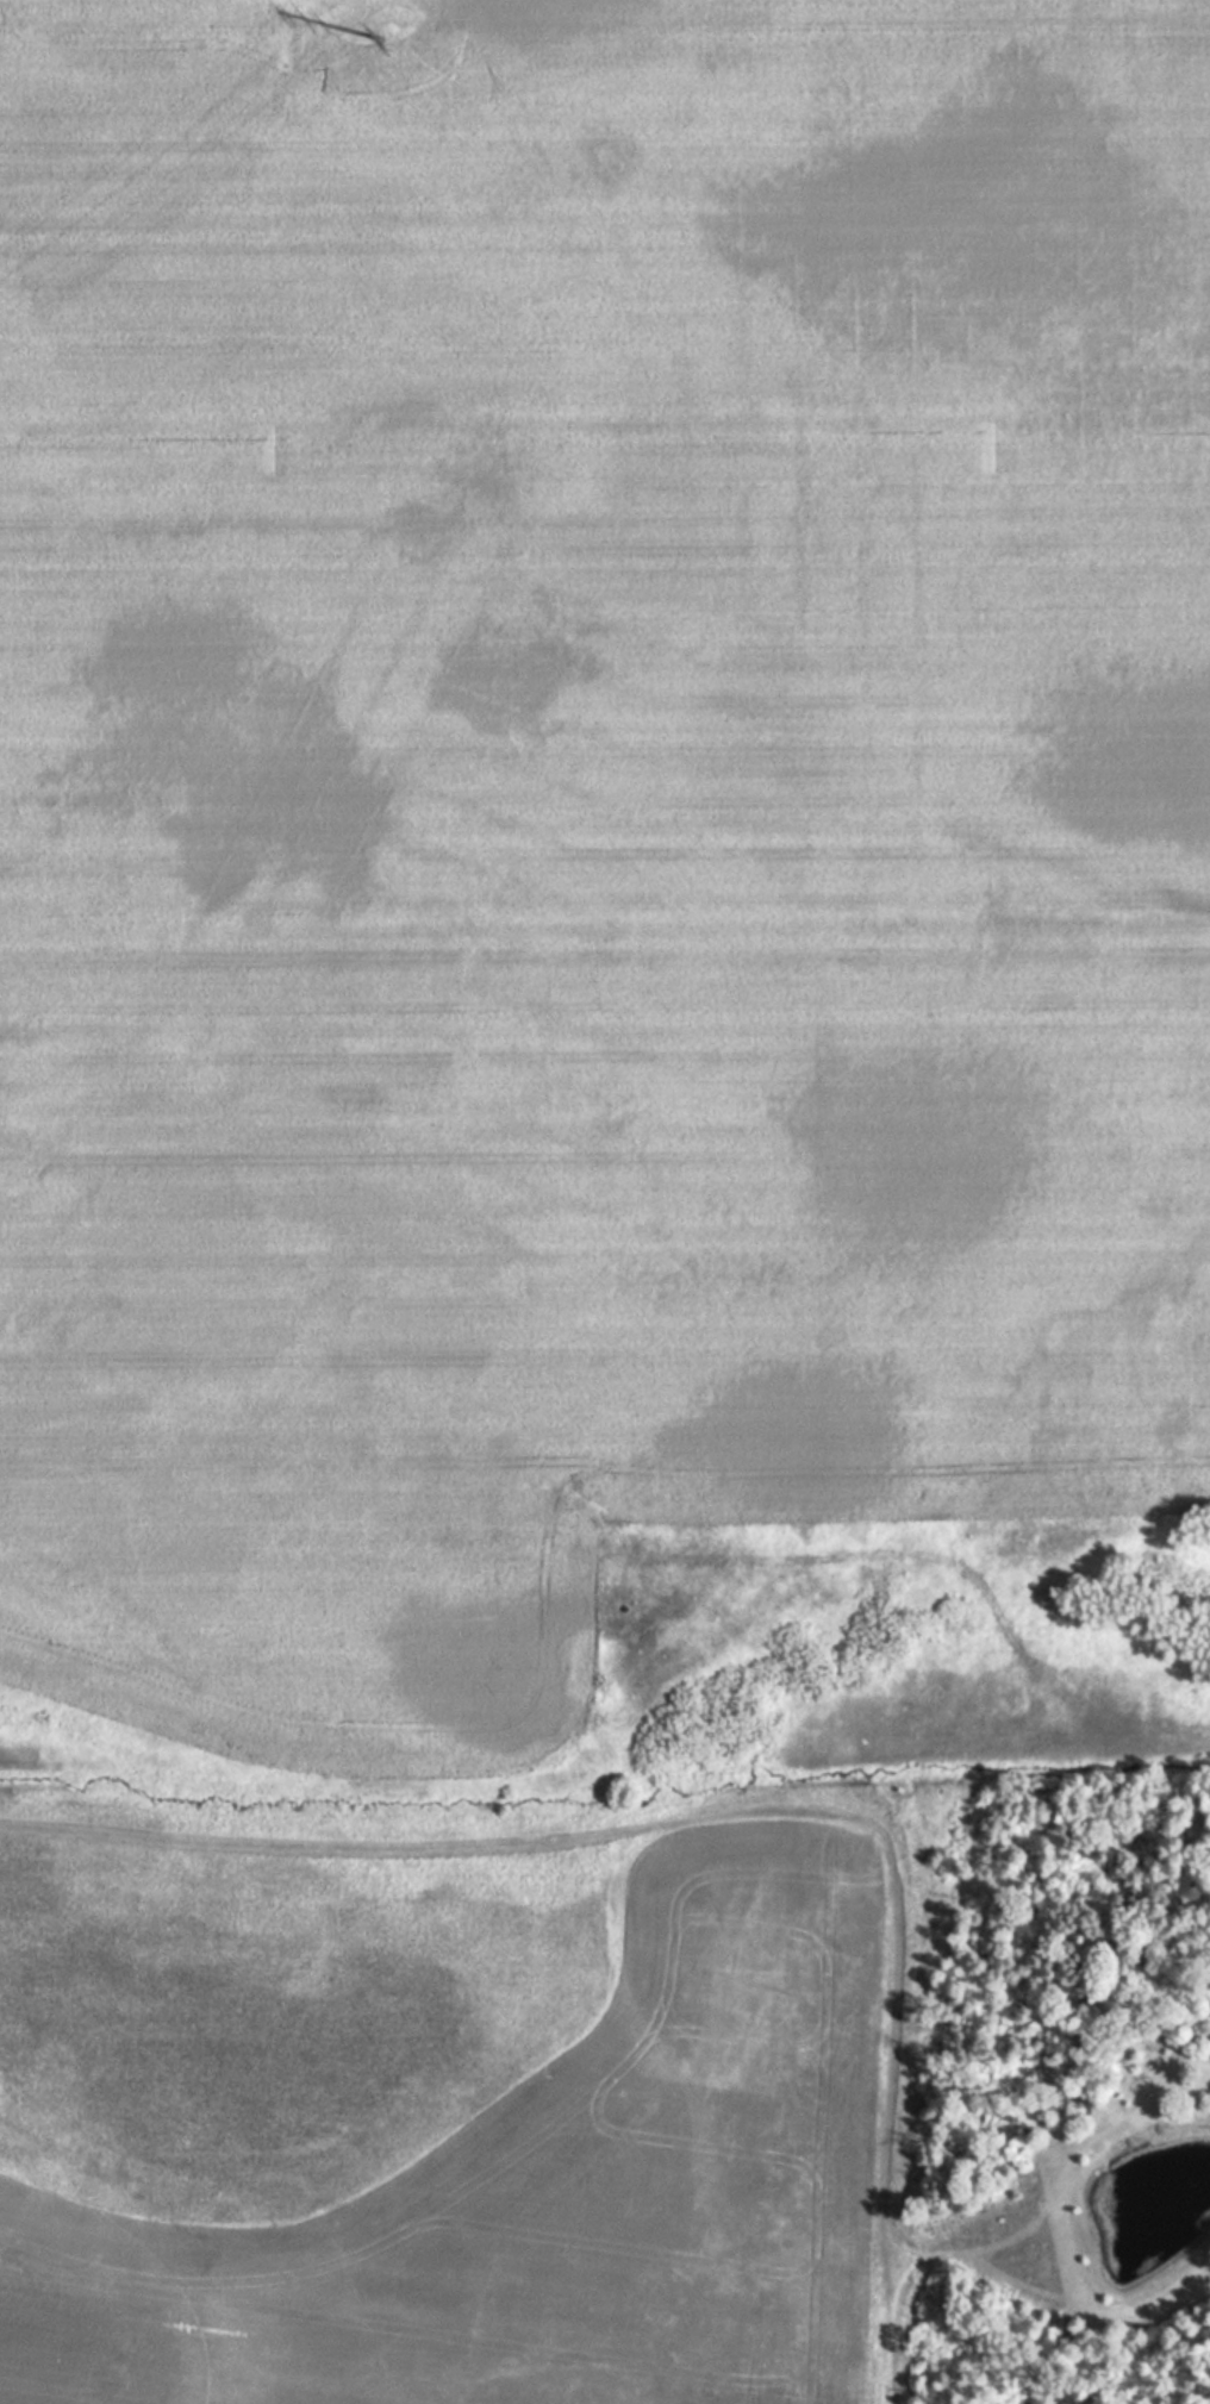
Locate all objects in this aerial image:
power tower: (400, 35)
building: (1208, 2050)

